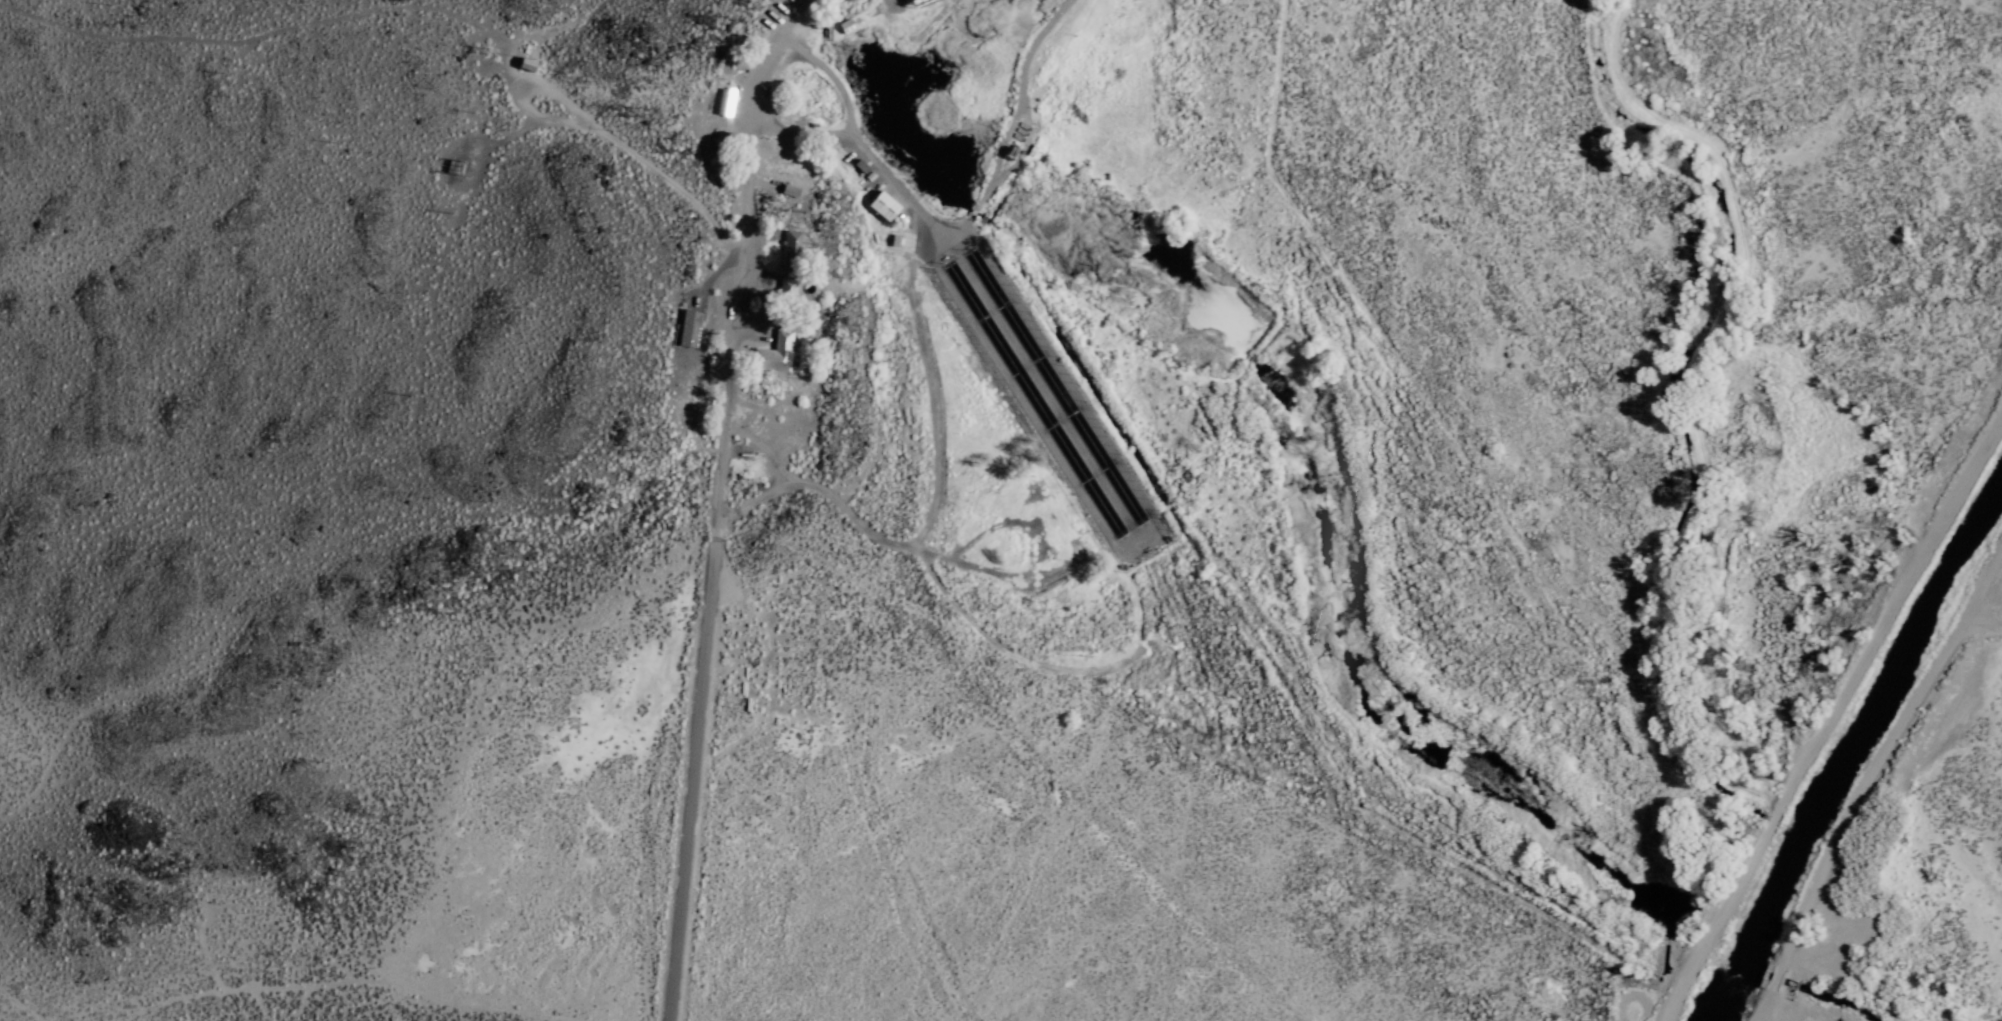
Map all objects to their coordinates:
road: (782, 16)
building: (845, 25)
road: (273, 34)
building: (528, 64)
building: (726, 102)
road: (632, 159)
building: (861, 166)
building: (791, 190)
building: (885, 206)
building: (893, 240)
building: (792, 249)
building: (787, 289)
building: (690, 330)
building: (777, 353)
aquafarm: (1250, 441)
building: (1097, 485)
road: (719, 531)
road: (1987, 621)
road: (1835, 722)
road: (1867, 784)

